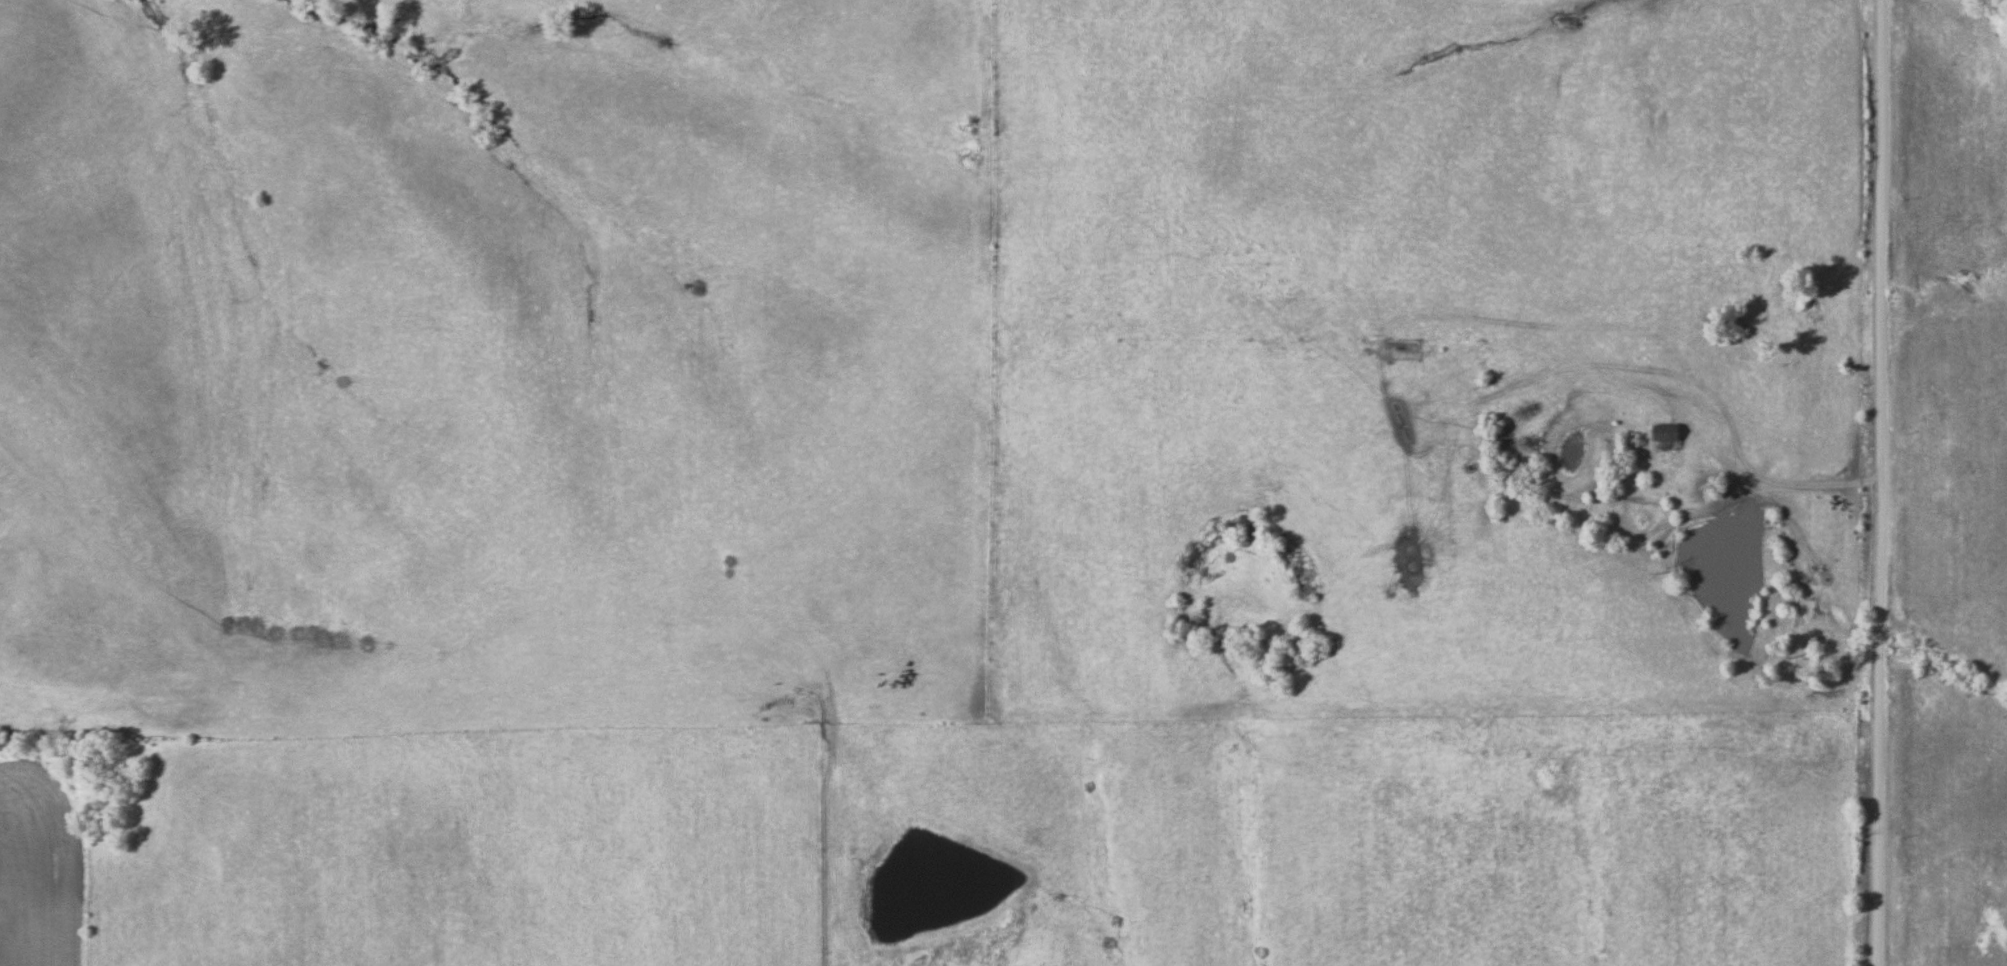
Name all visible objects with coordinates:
building: (1668, 438)
road: (1880, 483)

